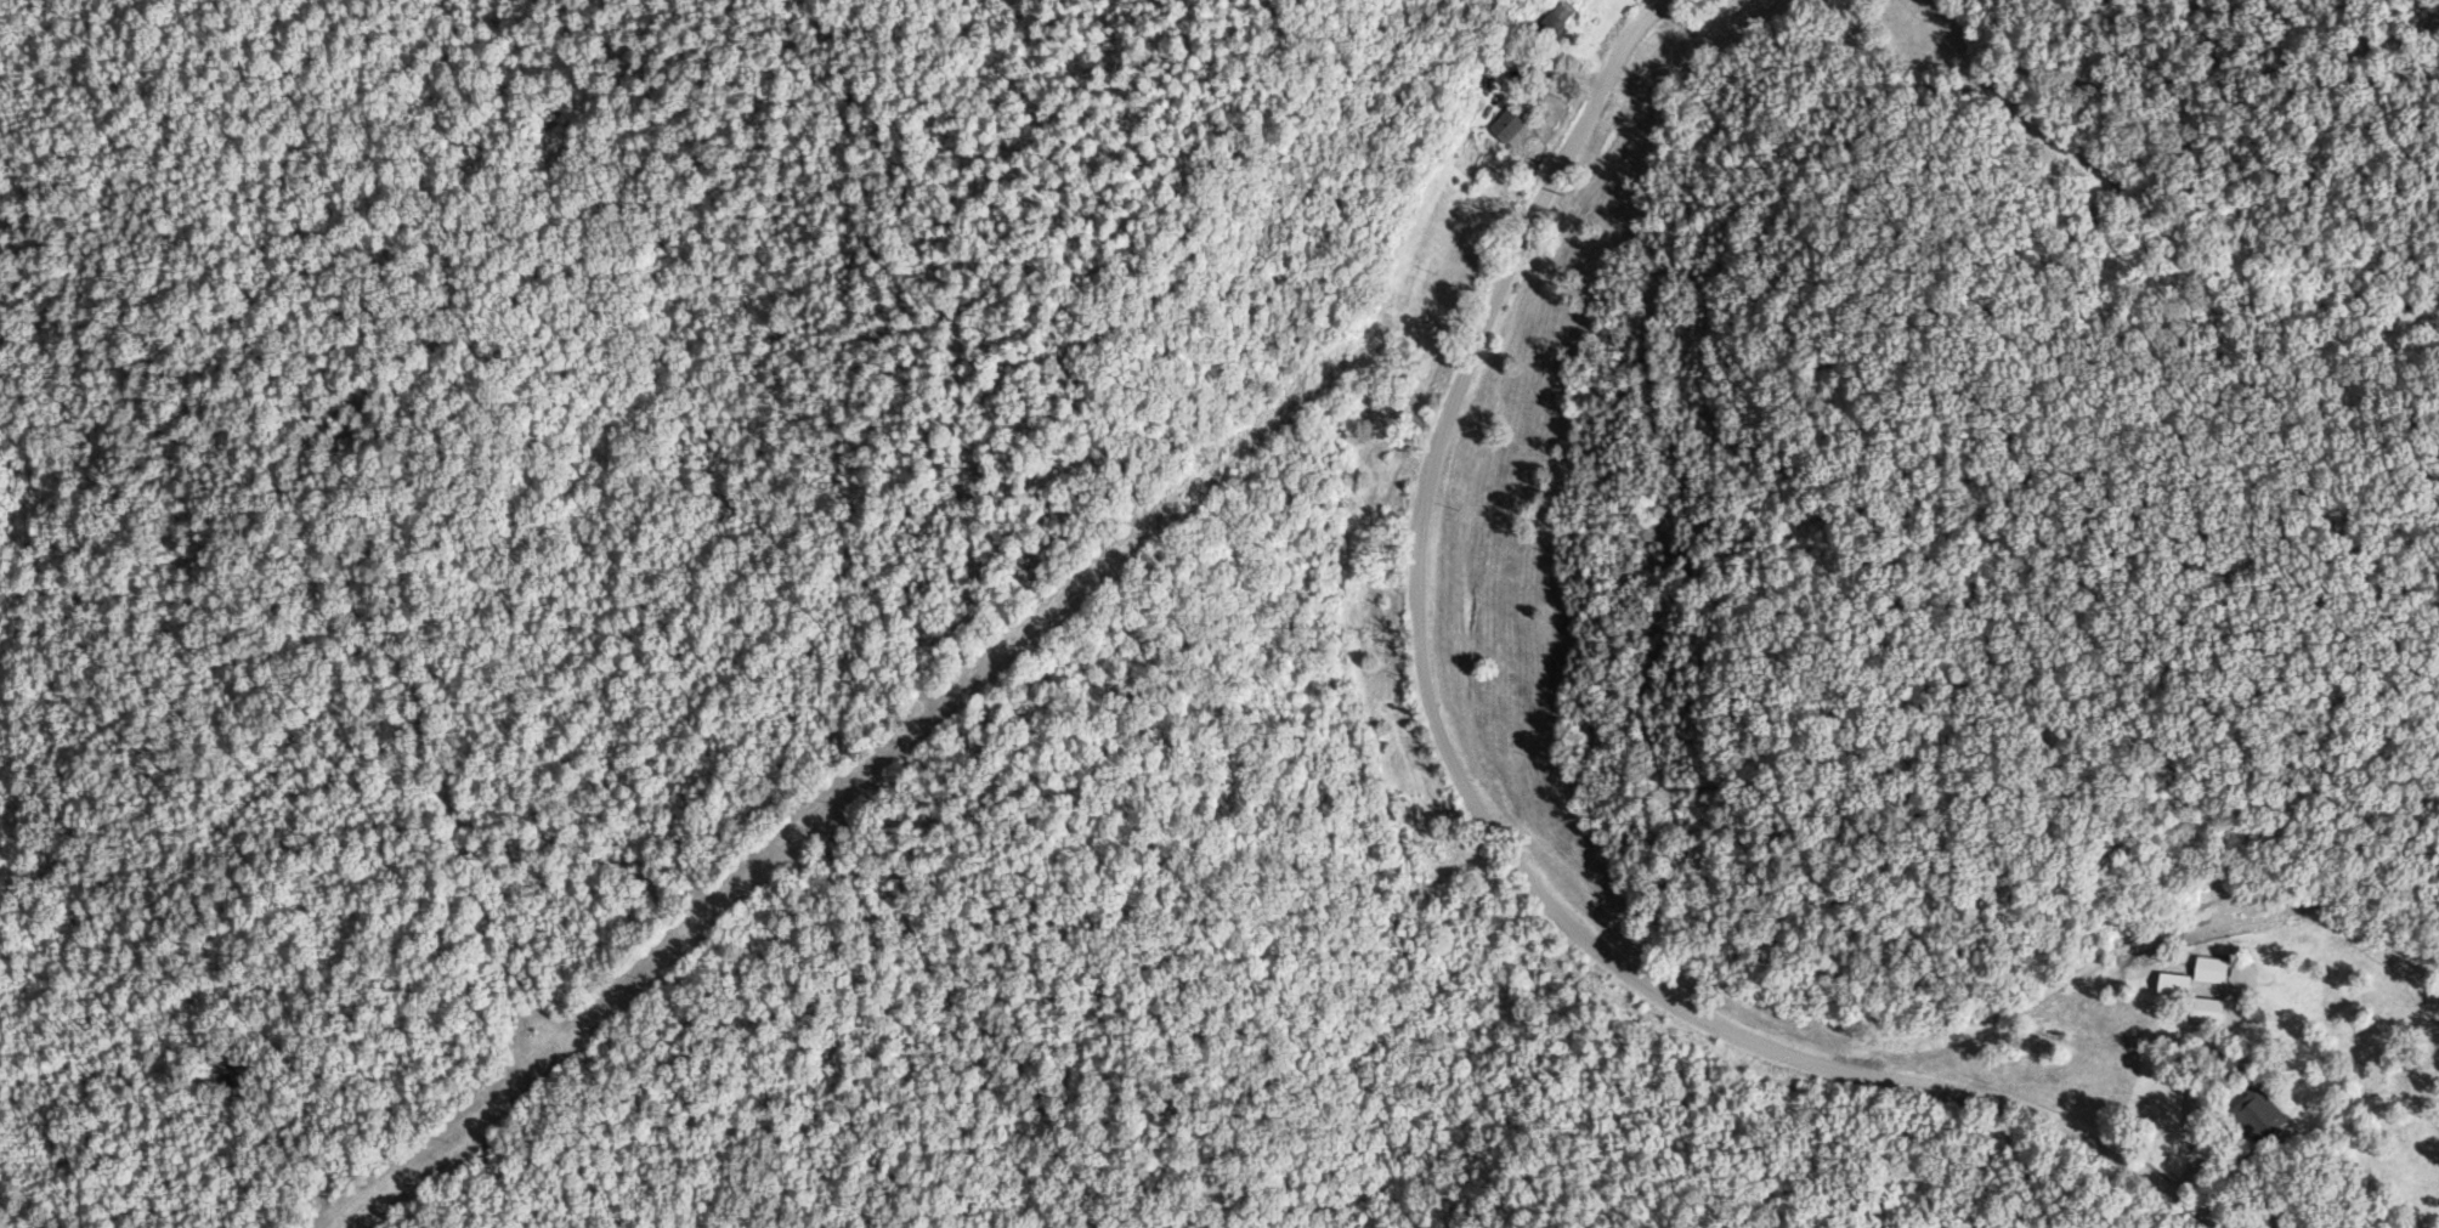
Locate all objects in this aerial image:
building: (1520, 128)
road: (1475, 813)
building: (2208, 988)
building: (2270, 1113)

